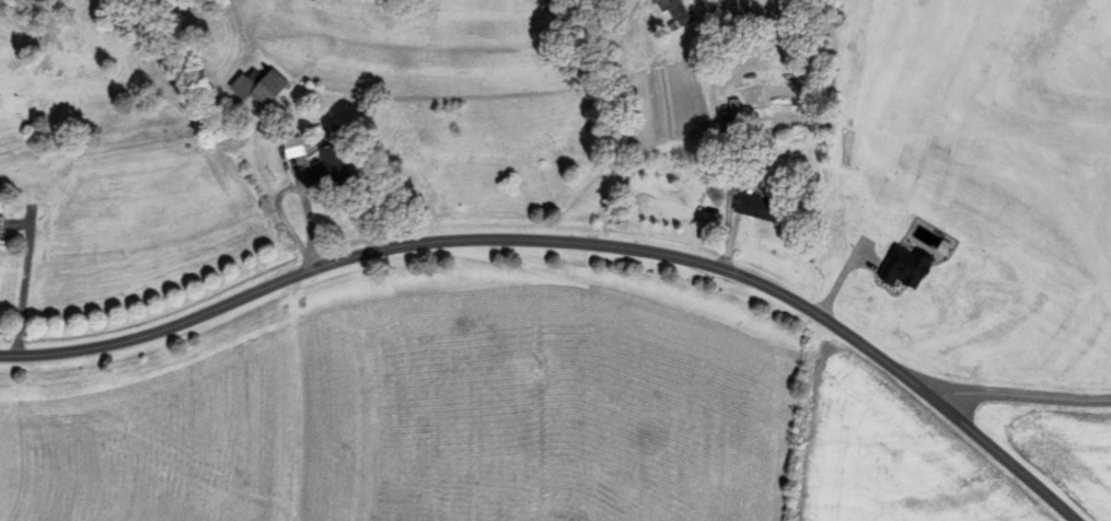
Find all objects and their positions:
building: (666, 12)
building: (254, 88)
building: (724, 114)
building: (287, 146)
building: (323, 166)
building: (749, 206)
road: (474, 238)
road: (25, 278)
road: (1020, 393)
road: (1003, 456)

